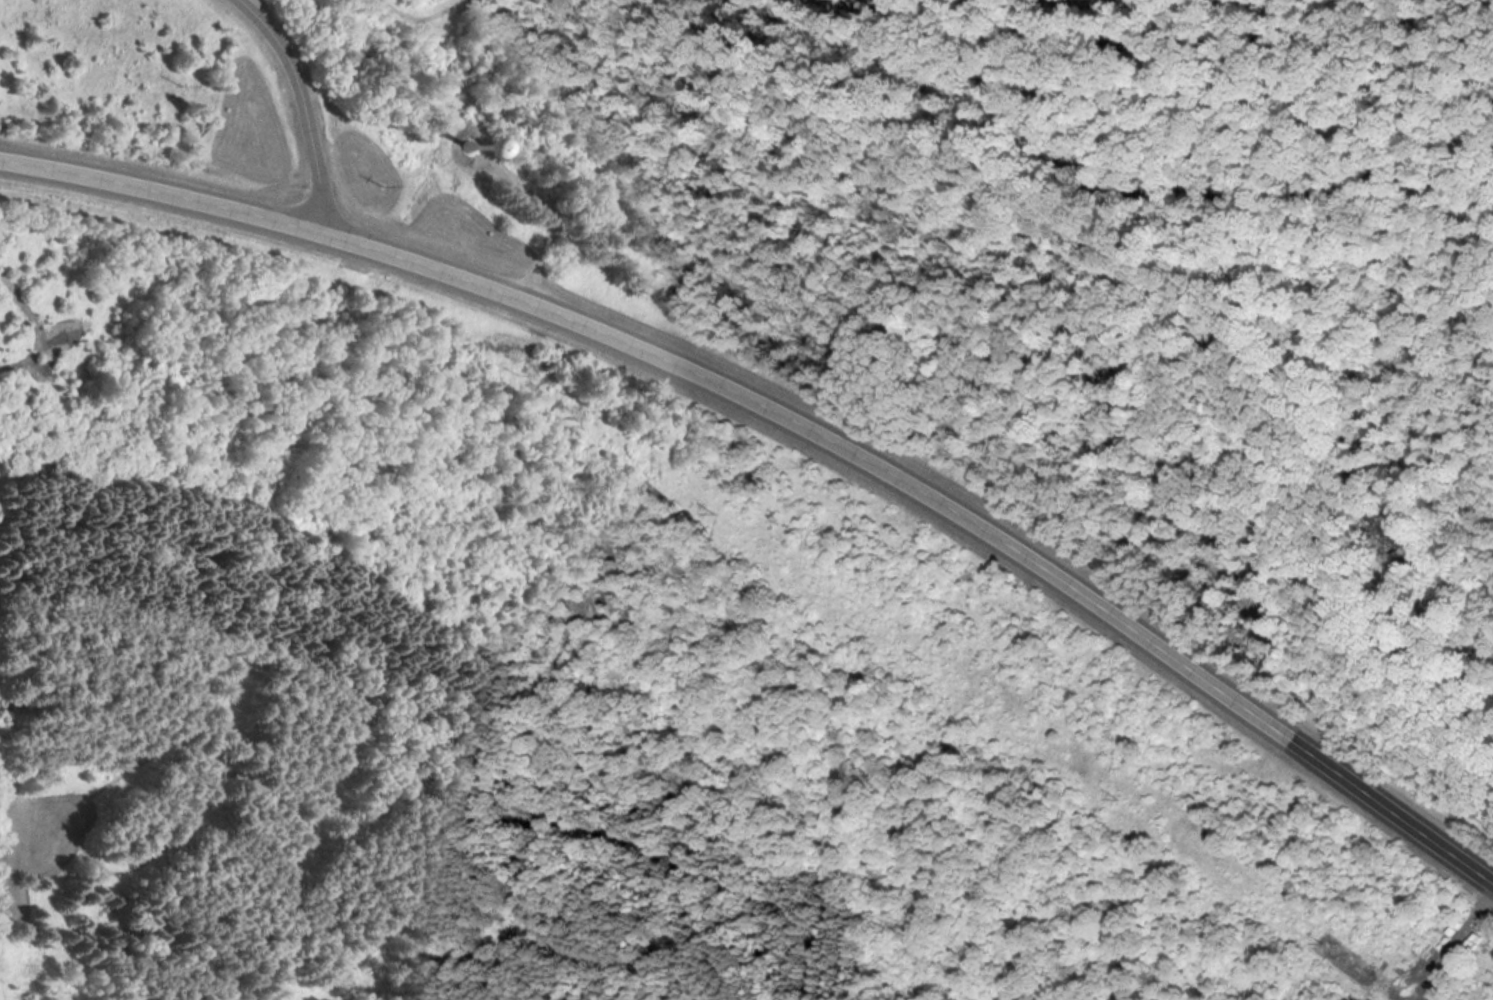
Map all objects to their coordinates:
road: (303, 106)
building: (486, 145)
road: (792, 416)

